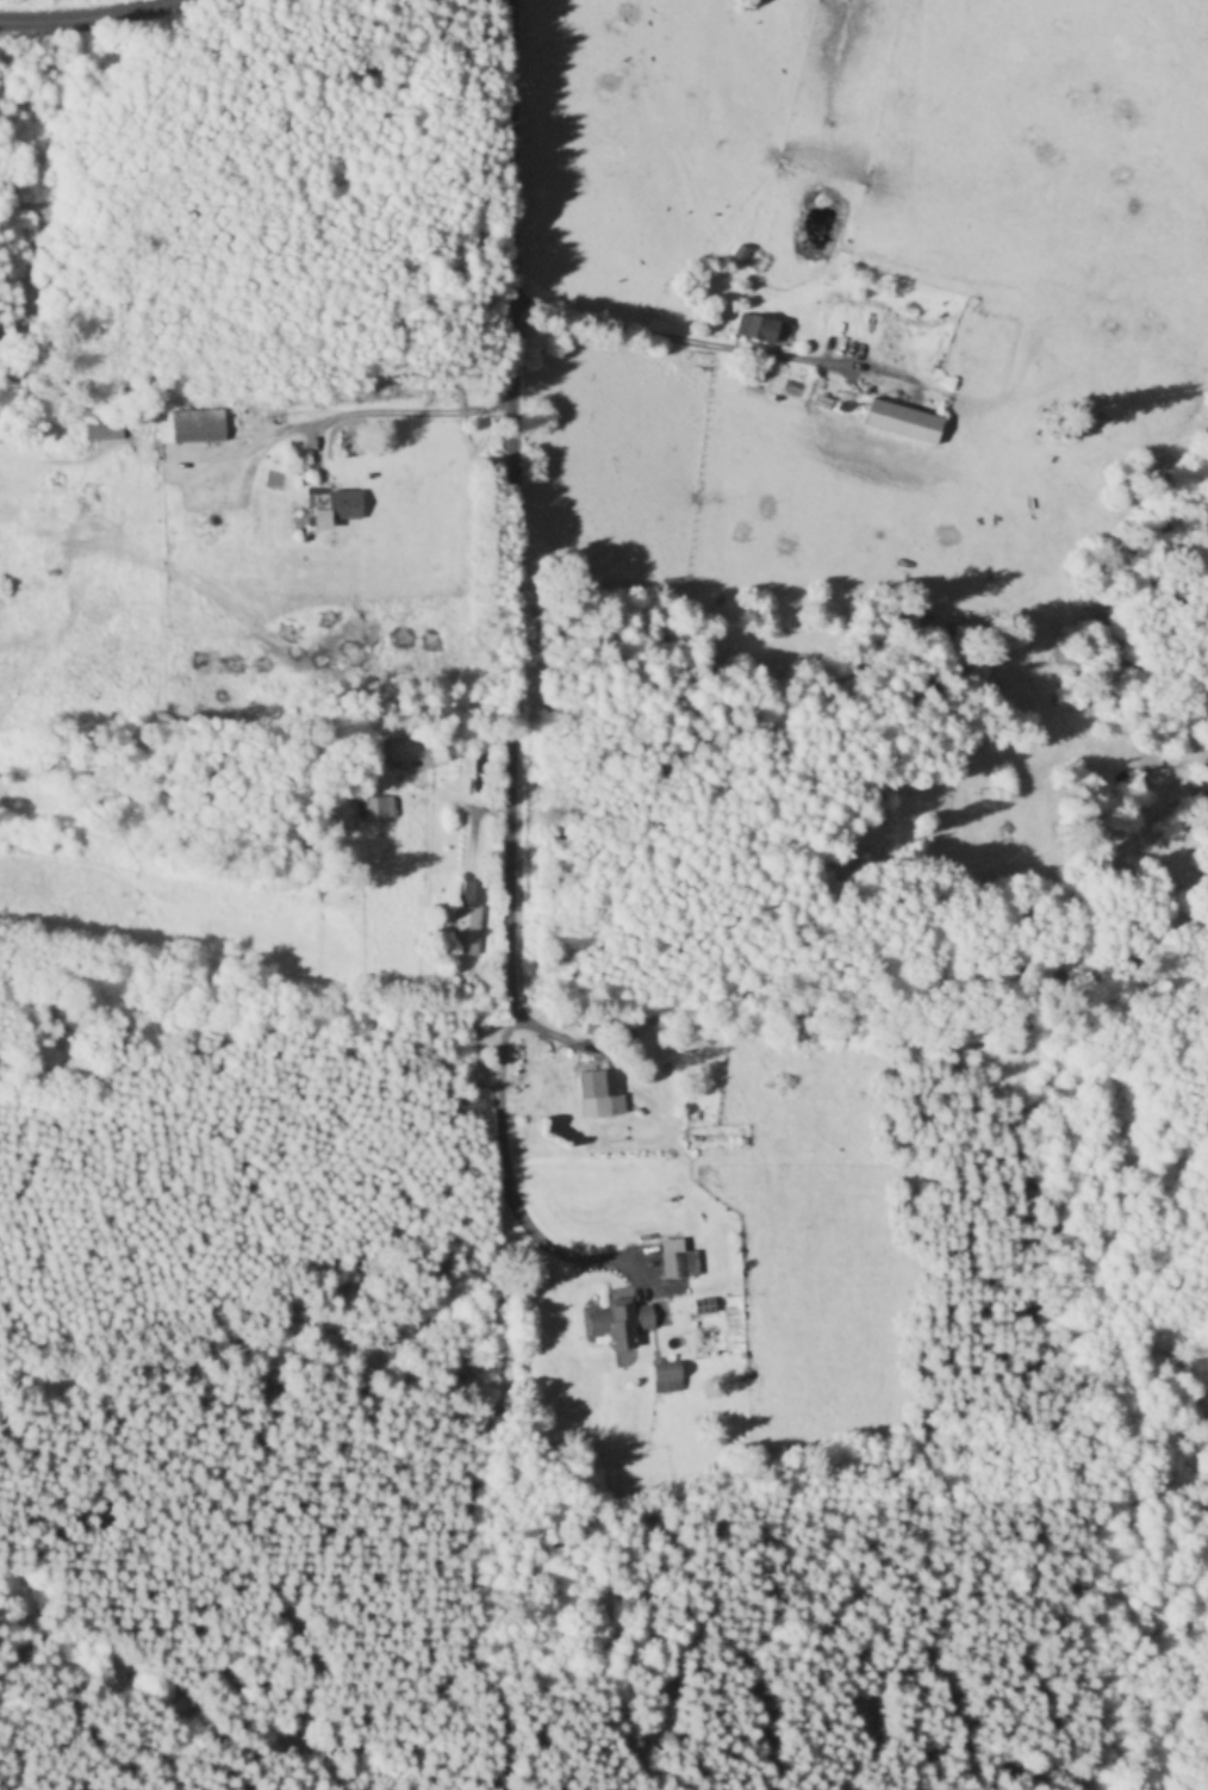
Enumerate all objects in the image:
road: (85, 10)
building: (761, 224)
building: (758, 329)
building: (901, 423)
building: (102, 430)
building: (189, 431)
building: (334, 508)
road: (496, 540)
building: (411, 752)
building: (480, 775)
building: (373, 808)
building: (471, 891)
building: (465, 931)
building: (599, 1093)
building: (466, 1107)
road: (505, 1206)
building: (672, 1260)
building: (618, 1324)
building: (665, 1378)

